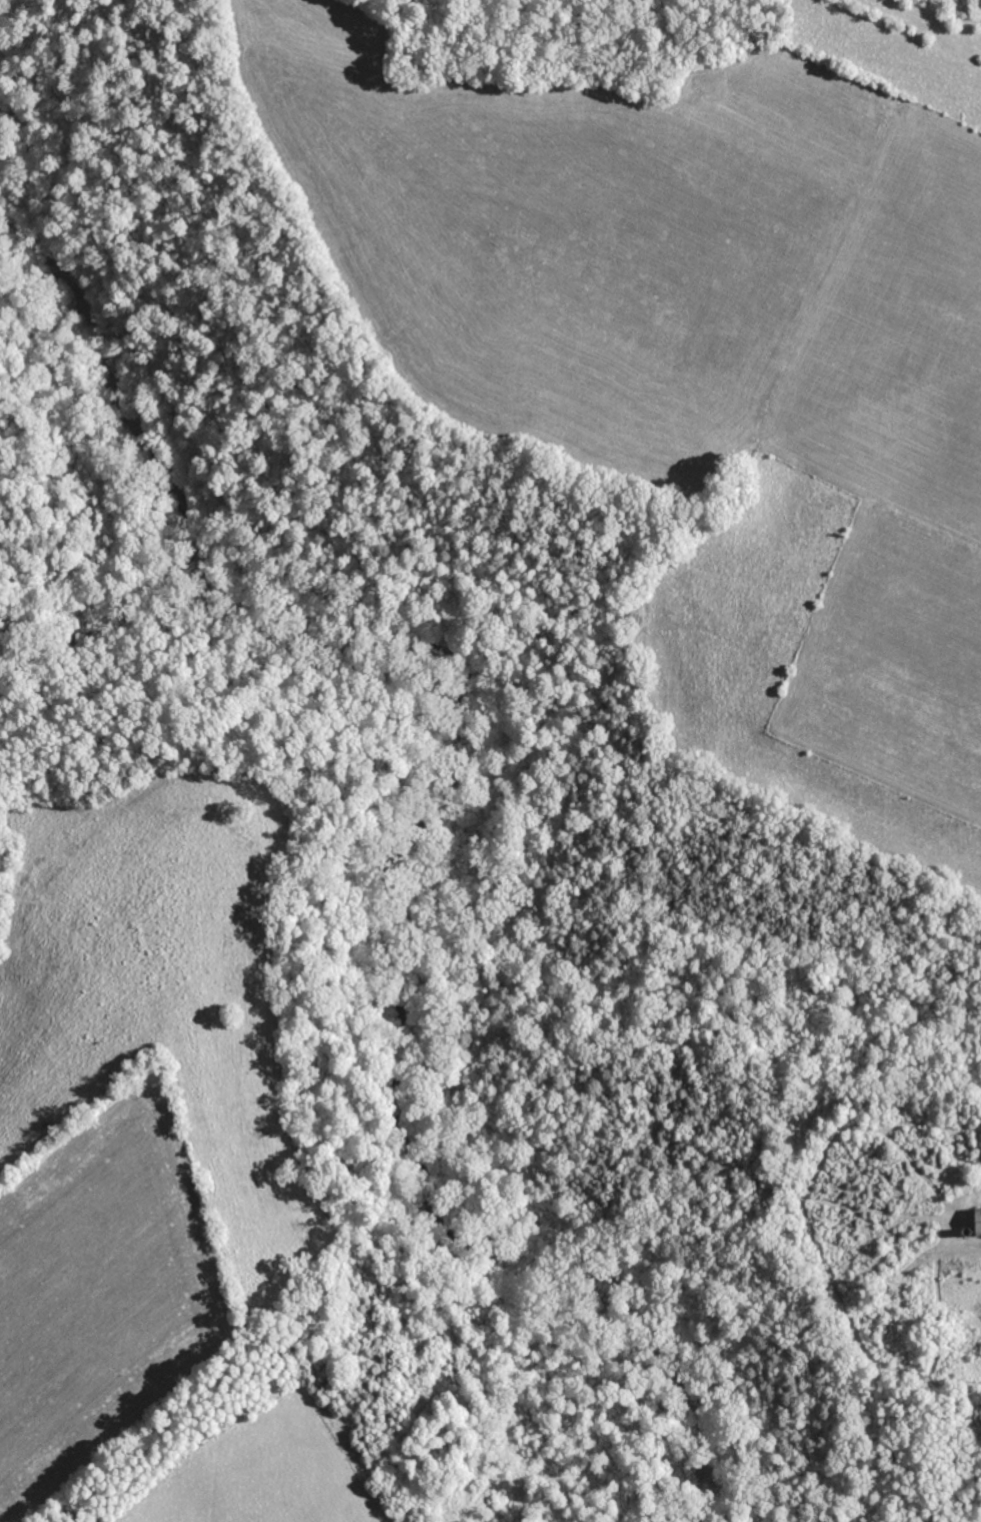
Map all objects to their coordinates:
building: (977, 1222)

